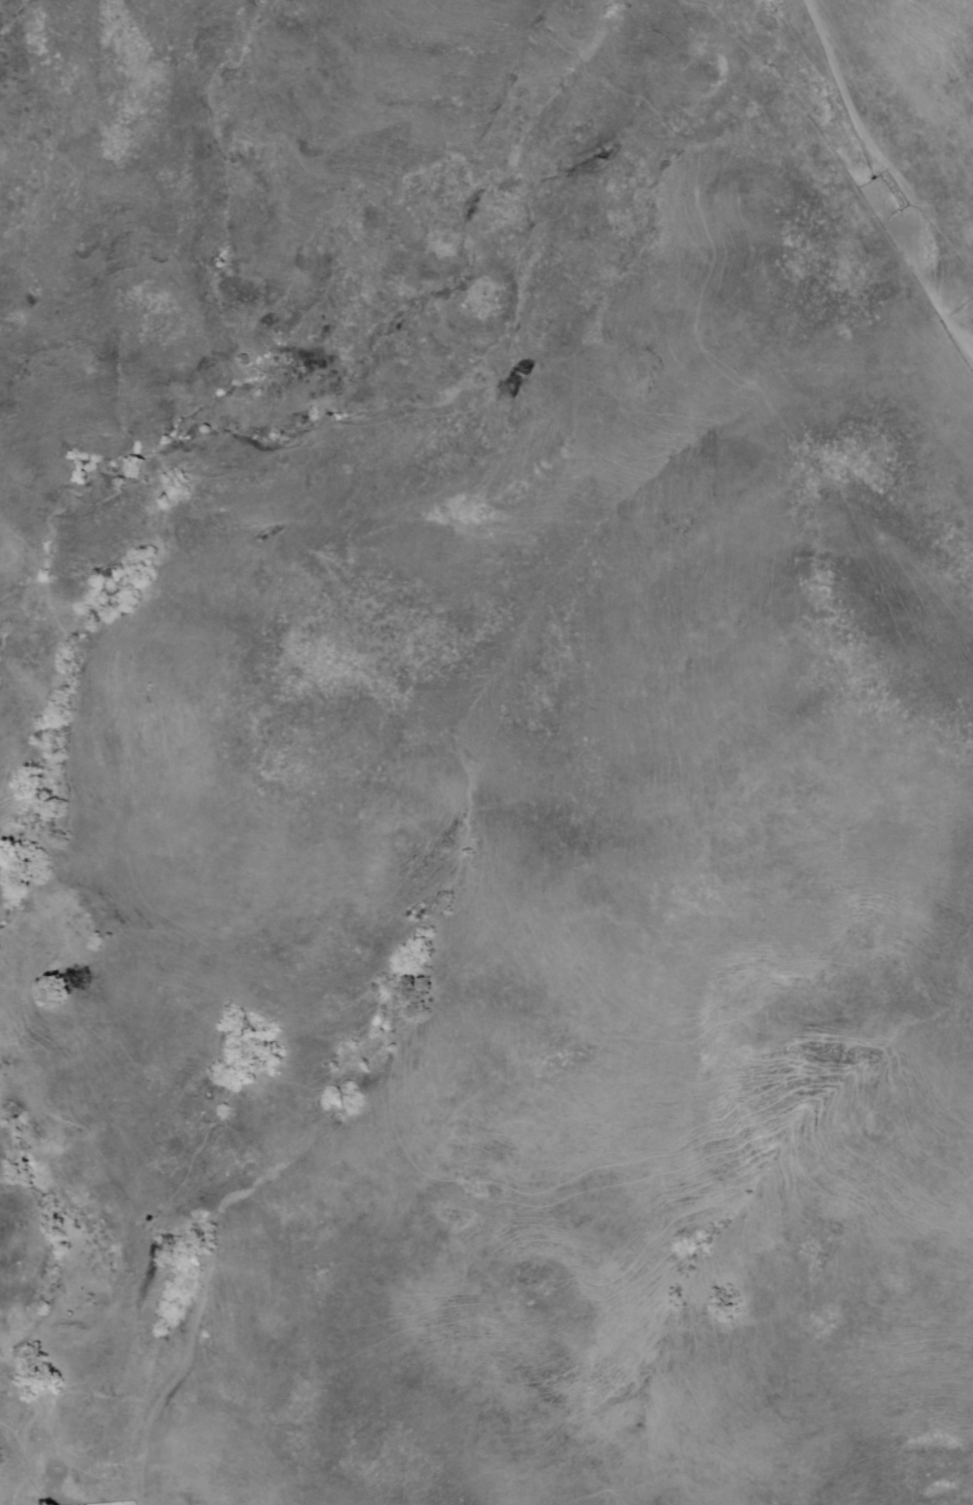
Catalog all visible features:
road: (897, 181)

